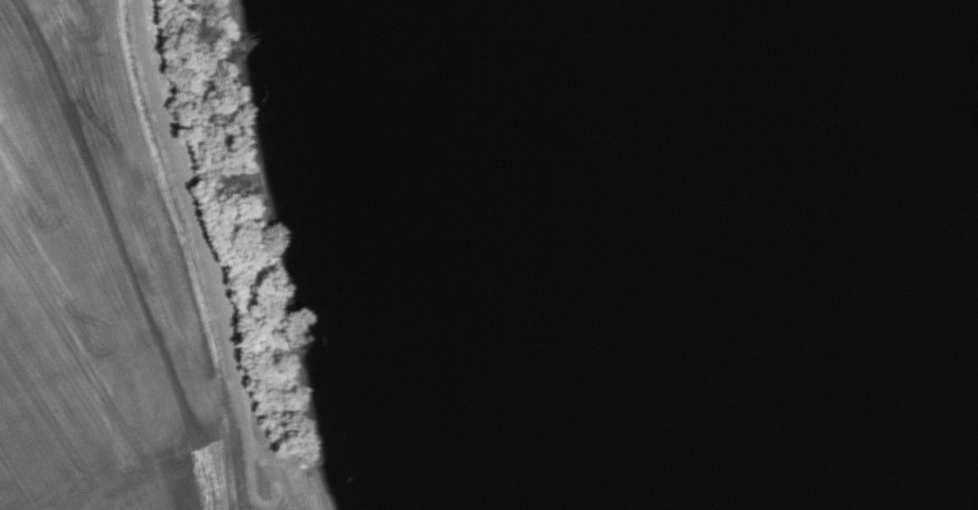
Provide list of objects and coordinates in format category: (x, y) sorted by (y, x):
road: (210, 252)
river: (830, 255)
crop: (92, 286)

